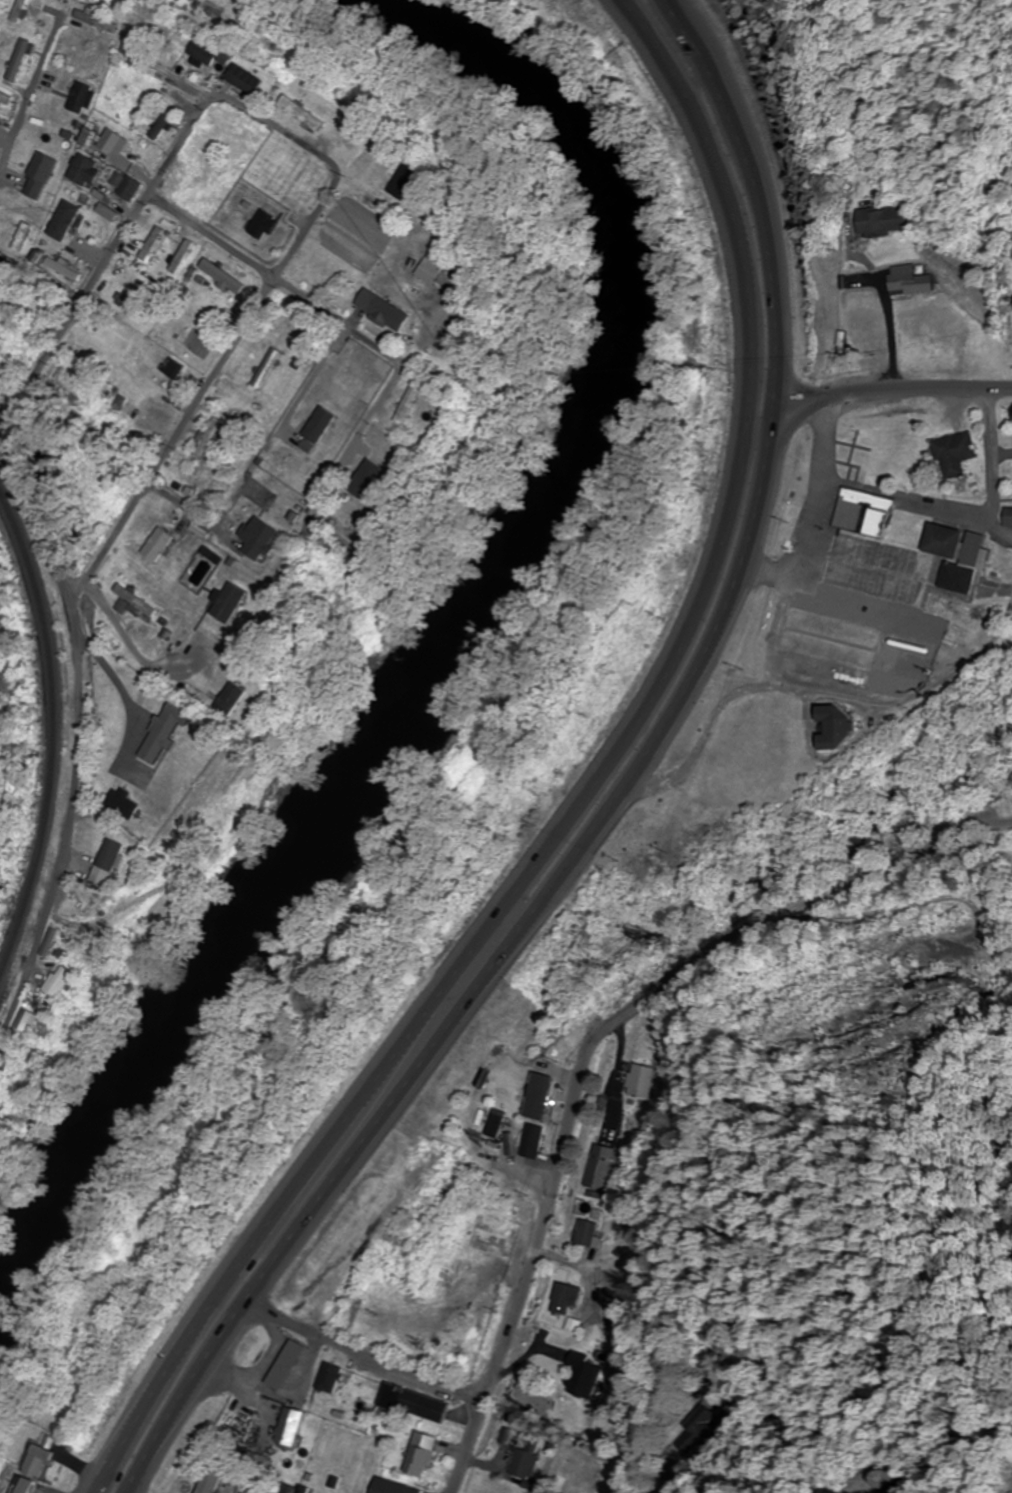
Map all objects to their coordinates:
building: (23, 11)
building: (137, 42)
building: (205, 52)
building: (22, 61)
building: (247, 79)
road: (38, 83)
building: (125, 93)
building: (83, 97)
building: (5, 98)
building: (305, 113)
building: (166, 125)
building: (92, 135)
building: (133, 148)
road: (335, 167)
building: (44, 168)
building: (85, 171)
building: (254, 181)
building: (407, 181)
building: (128, 186)
building: (880, 220)
building: (64, 221)
building: (265, 224)
building: (153, 243)
building: (433, 269)
building: (225, 276)
road: (281, 280)
building: (906, 280)
building: (384, 311)
building: (927, 326)
road: (886, 333)
building: (173, 368)
building: (268, 369)
road: (878, 393)
building: (409, 408)
building: (208, 438)
building: (953, 454)
building: (381, 459)
building: (310, 476)
road: (817, 509)
building: (1008, 517)
building: (259, 538)
building: (156, 544)
building: (901, 556)
building: (132, 601)
building: (229, 603)
building: (958, 620)
river: (445, 633)
building: (833, 639)
building: (888, 653)
building: (229, 699)
railway: (50, 727)
building: (835, 728)
building: (165, 730)
road: (74, 740)
road: (592, 790)
road: (628, 794)
building: (121, 805)
building: (108, 856)
building: (71, 888)
building: (55, 982)
building: (22, 1022)
road: (598, 1042)
building: (640, 1081)
building: (537, 1098)
building: (495, 1123)
building: (531, 1141)
building: (599, 1168)
building: (585, 1234)
building: (563, 1298)
road: (348, 1358)
building: (285, 1364)
building: (582, 1375)
building: (328, 1377)
building: (410, 1403)
building: (705, 1422)
building: (288, 1427)
building: (416, 1455)
building: (520, 1464)
building: (38, 1468)
building: (885, 1479)
building: (210, 1482)
building: (388, 1487)
road: (111, 1490)

